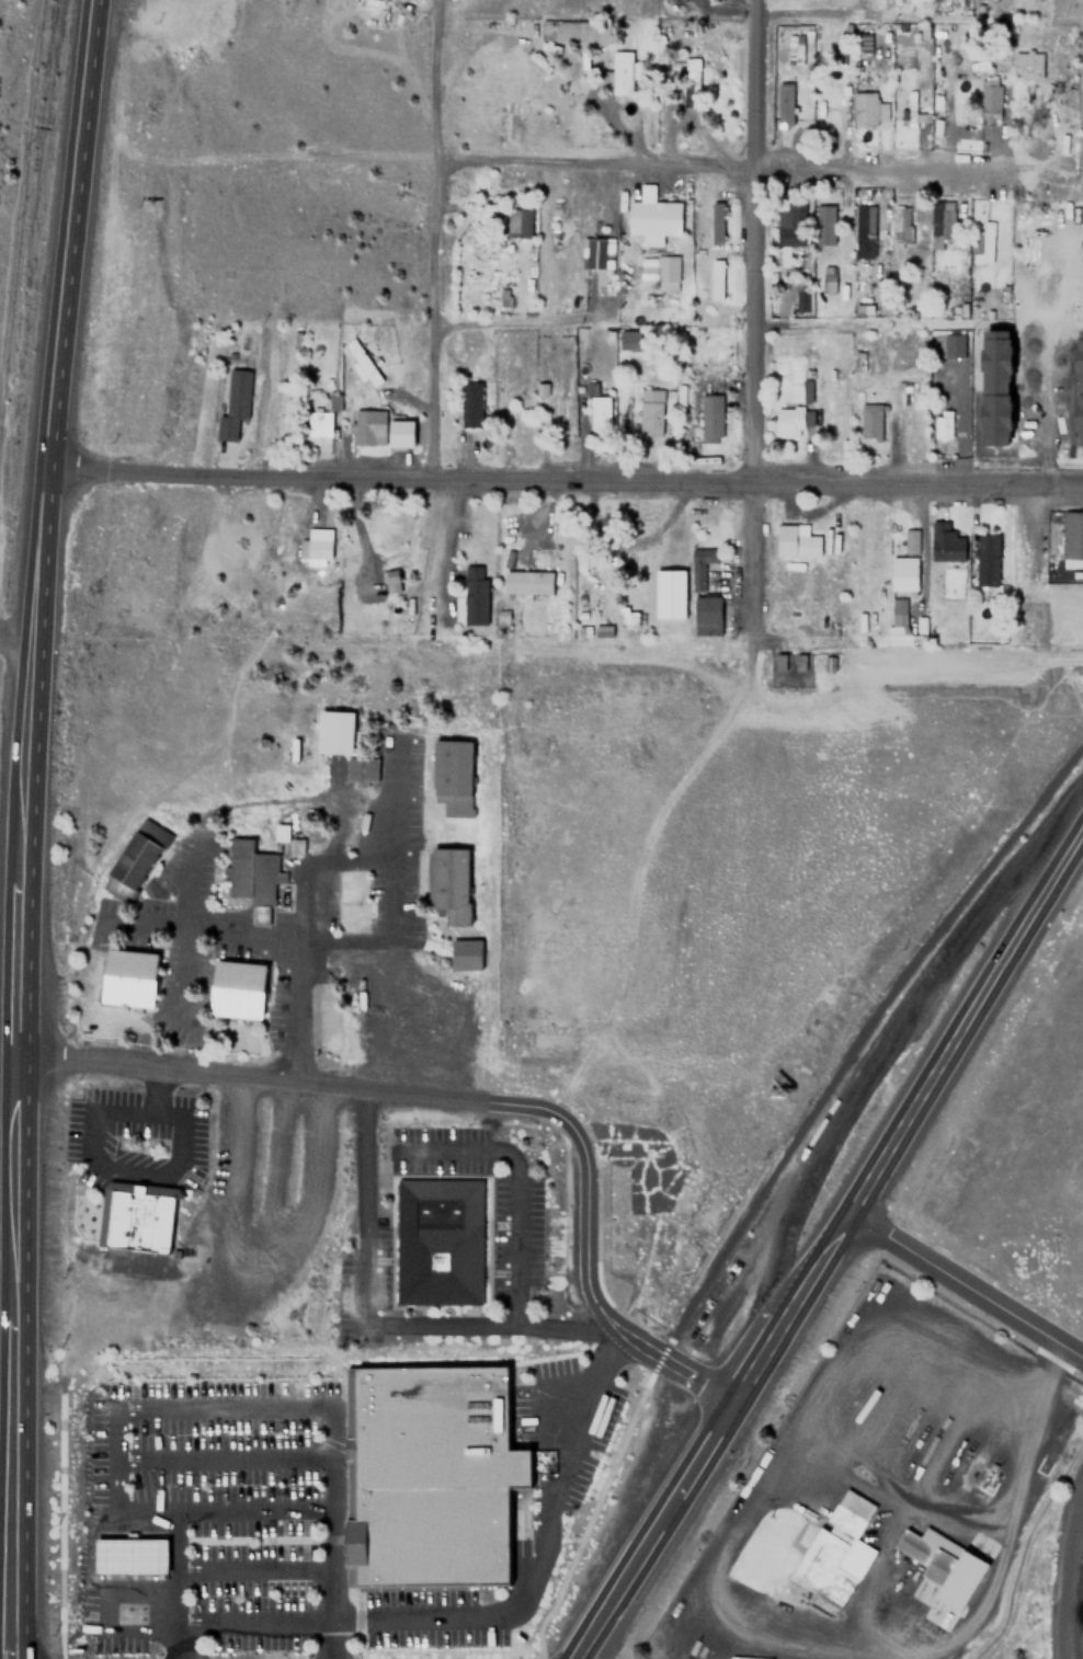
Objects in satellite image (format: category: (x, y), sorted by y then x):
building: (176, 11)
building: (575, 32)
building: (860, 43)
building: (794, 48)
building: (1026, 66)
building: (622, 73)
road: (435, 80)
building: (691, 82)
building: (989, 92)
building: (784, 104)
building: (864, 107)
building: (905, 107)
road: (718, 161)
building: (483, 217)
building: (654, 217)
building: (716, 221)
building: (518, 222)
building: (939, 225)
building: (899, 226)
building: (823, 227)
building: (789, 228)
road: (68, 231)
building: (859, 231)
building: (982, 243)
building: (596, 251)
building: (716, 276)
building: (668, 279)
building: (827, 279)
building: (938, 281)
building: (799, 293)
road: (432, 318)
road: (751, 319)
road: (521, 320)
road: (844, 324)
building: (628, 340)
building: (949, 344)
building: (857, 359)
building: (361, 361)
building: (1005, 367)
building: (806, 388)
building: (592, 389)
building: (470, 397)
building: (233, 400)
building: (334, 402)
building: (650, 411)
building: (600, 415)
building: (556, 416)
building: (710, 419)
building: (869, 420)
building: (788, 421)
building: (319, 423)
building: (368, 425)
building: (941, 426)
building: (401, 431)
road: (563, 477)
building: (1071, 534)
road: (448, 540)
building: (802, 541)
building: (913, 541)
building: (945, 544)
building: (315, 549)
building: (707, 554)
building: (987, 559)
building: (903, 573)
building: (394, 581)
building: (528, 581)
building: (669, 593)
building: (476, 594)
building: (707, 614)
building: (898, 626)
road: (15, 636)
road: (30, 655)
building: (783, 662)
building: (801, 663)
building: (830, 664)
building: (334, 731)
building: (362, 768)
building: (453, 776)
building: (283, 833)
building: (298, 847)
building: (135, 860)
building: (250, 878)
building: (449, 882)
road: (19, 951)
building: (466, 954)
building: (129, 977)
building: (238, 988)
road: (477, 1098)
road: (15, 1190)
building: (137, 1216)
building: (440, 1240)
road: (831, 1251)
road: (968, 1288)
road: (114, 1456)
road: (220, 1457)
road: (13, 1465)
building: (432, 1476)
road: (327, 1533)
building: (836, 1551)
building: (130, 1556)
gas station: (130, 1556)
building: (927, 1556)
road: (252, 1568)
road: (1064, 1571)
road: (175, 1584)
road: (7, 1612)
road: (493, 1615)
road: (22, 1631)
road: (7, 1646)
road: (27, 1654)

